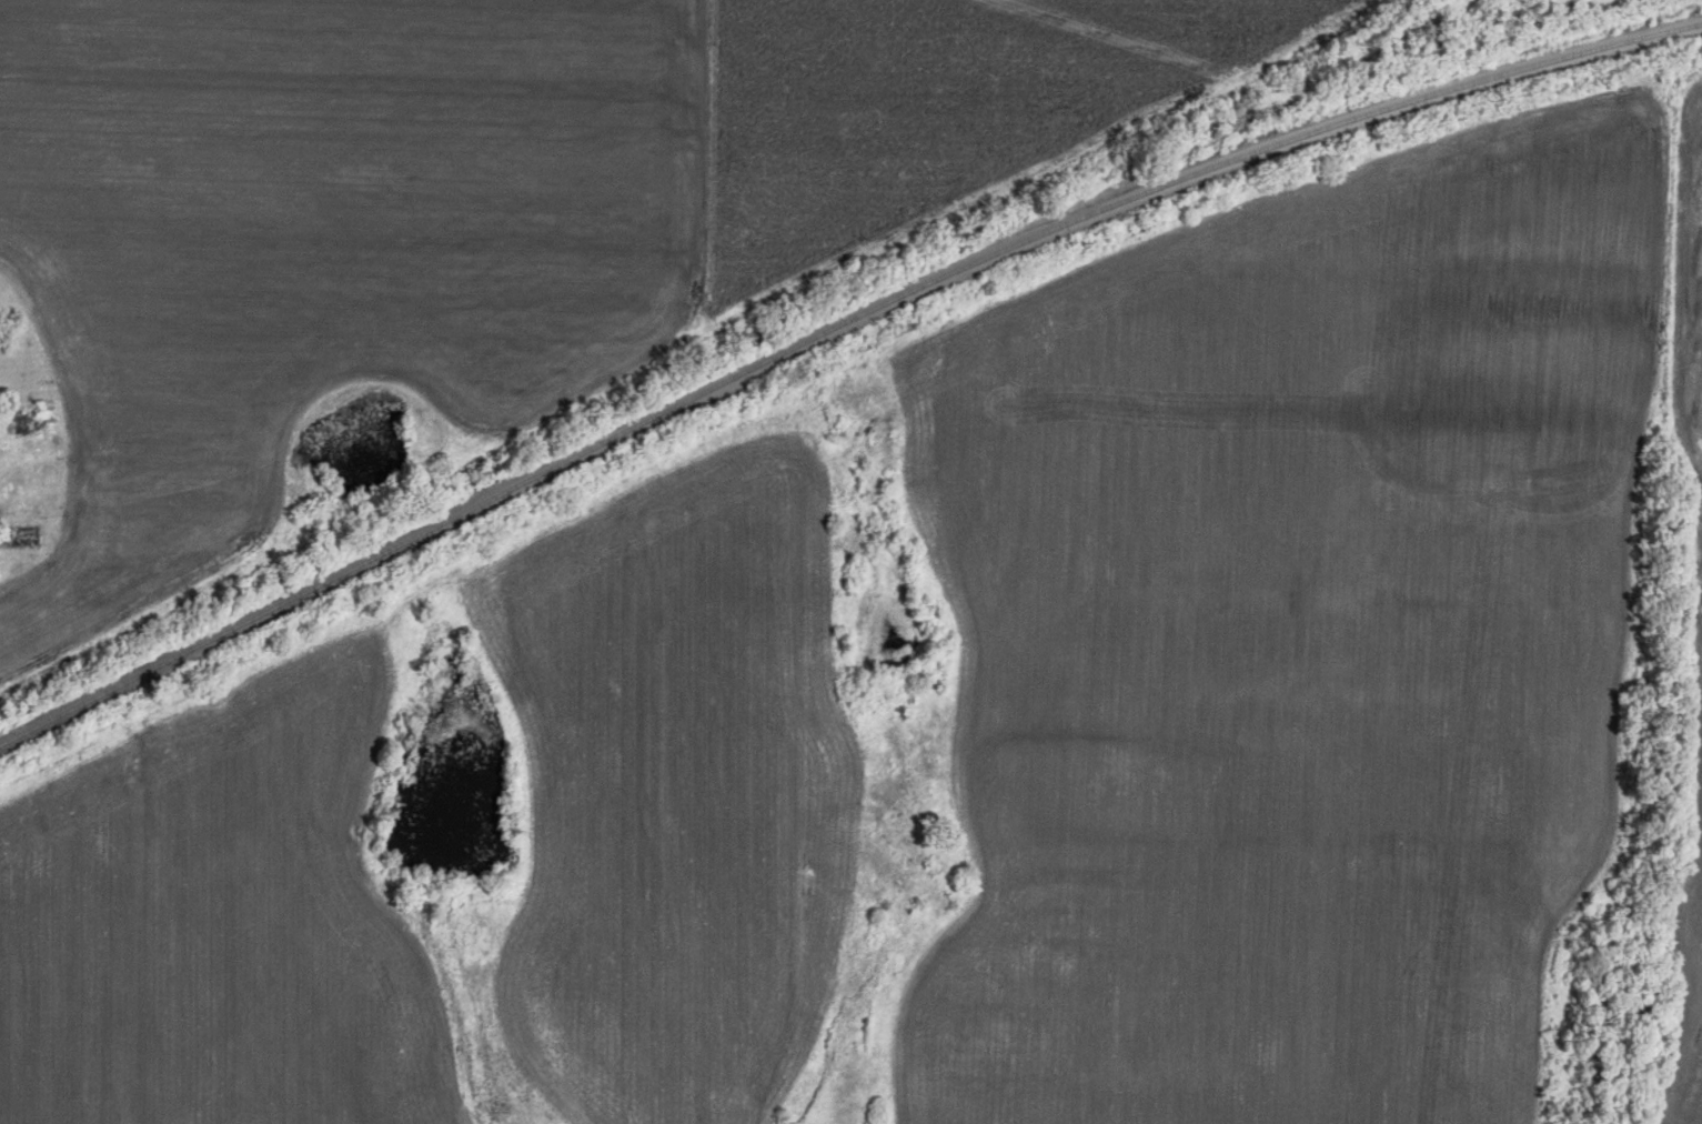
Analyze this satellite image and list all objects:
railway: (830, 330)

